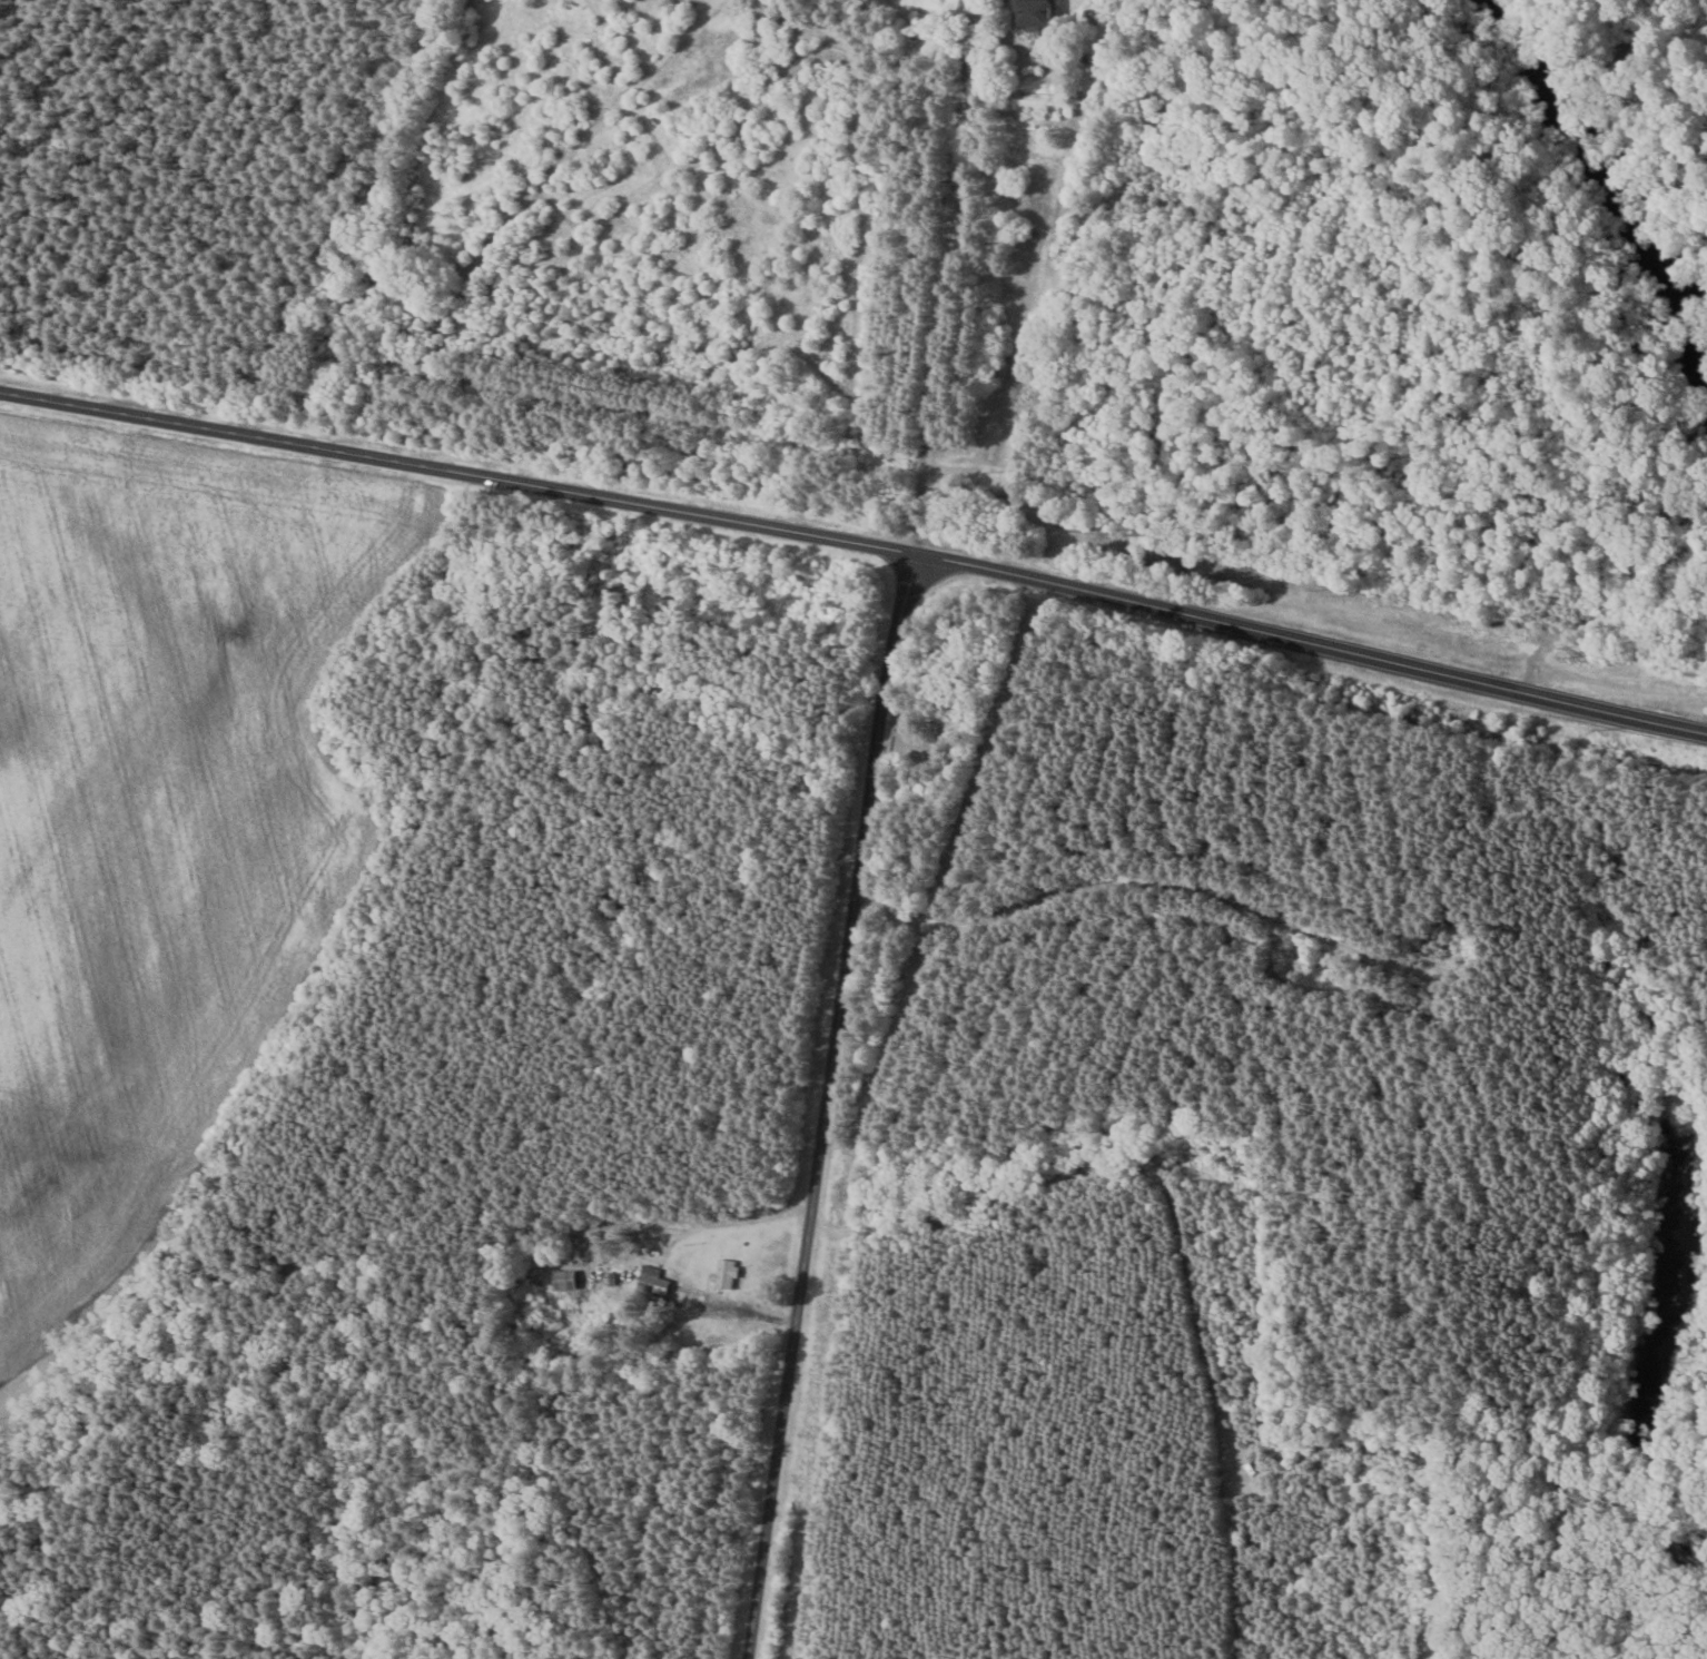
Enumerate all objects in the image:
building: (1036, 11)
river: (1561, 117)
dam: (1646, 233)
river: (1670, 299)
road: (856, 554)
road: (821, 1110)
building: (727, 1272)

